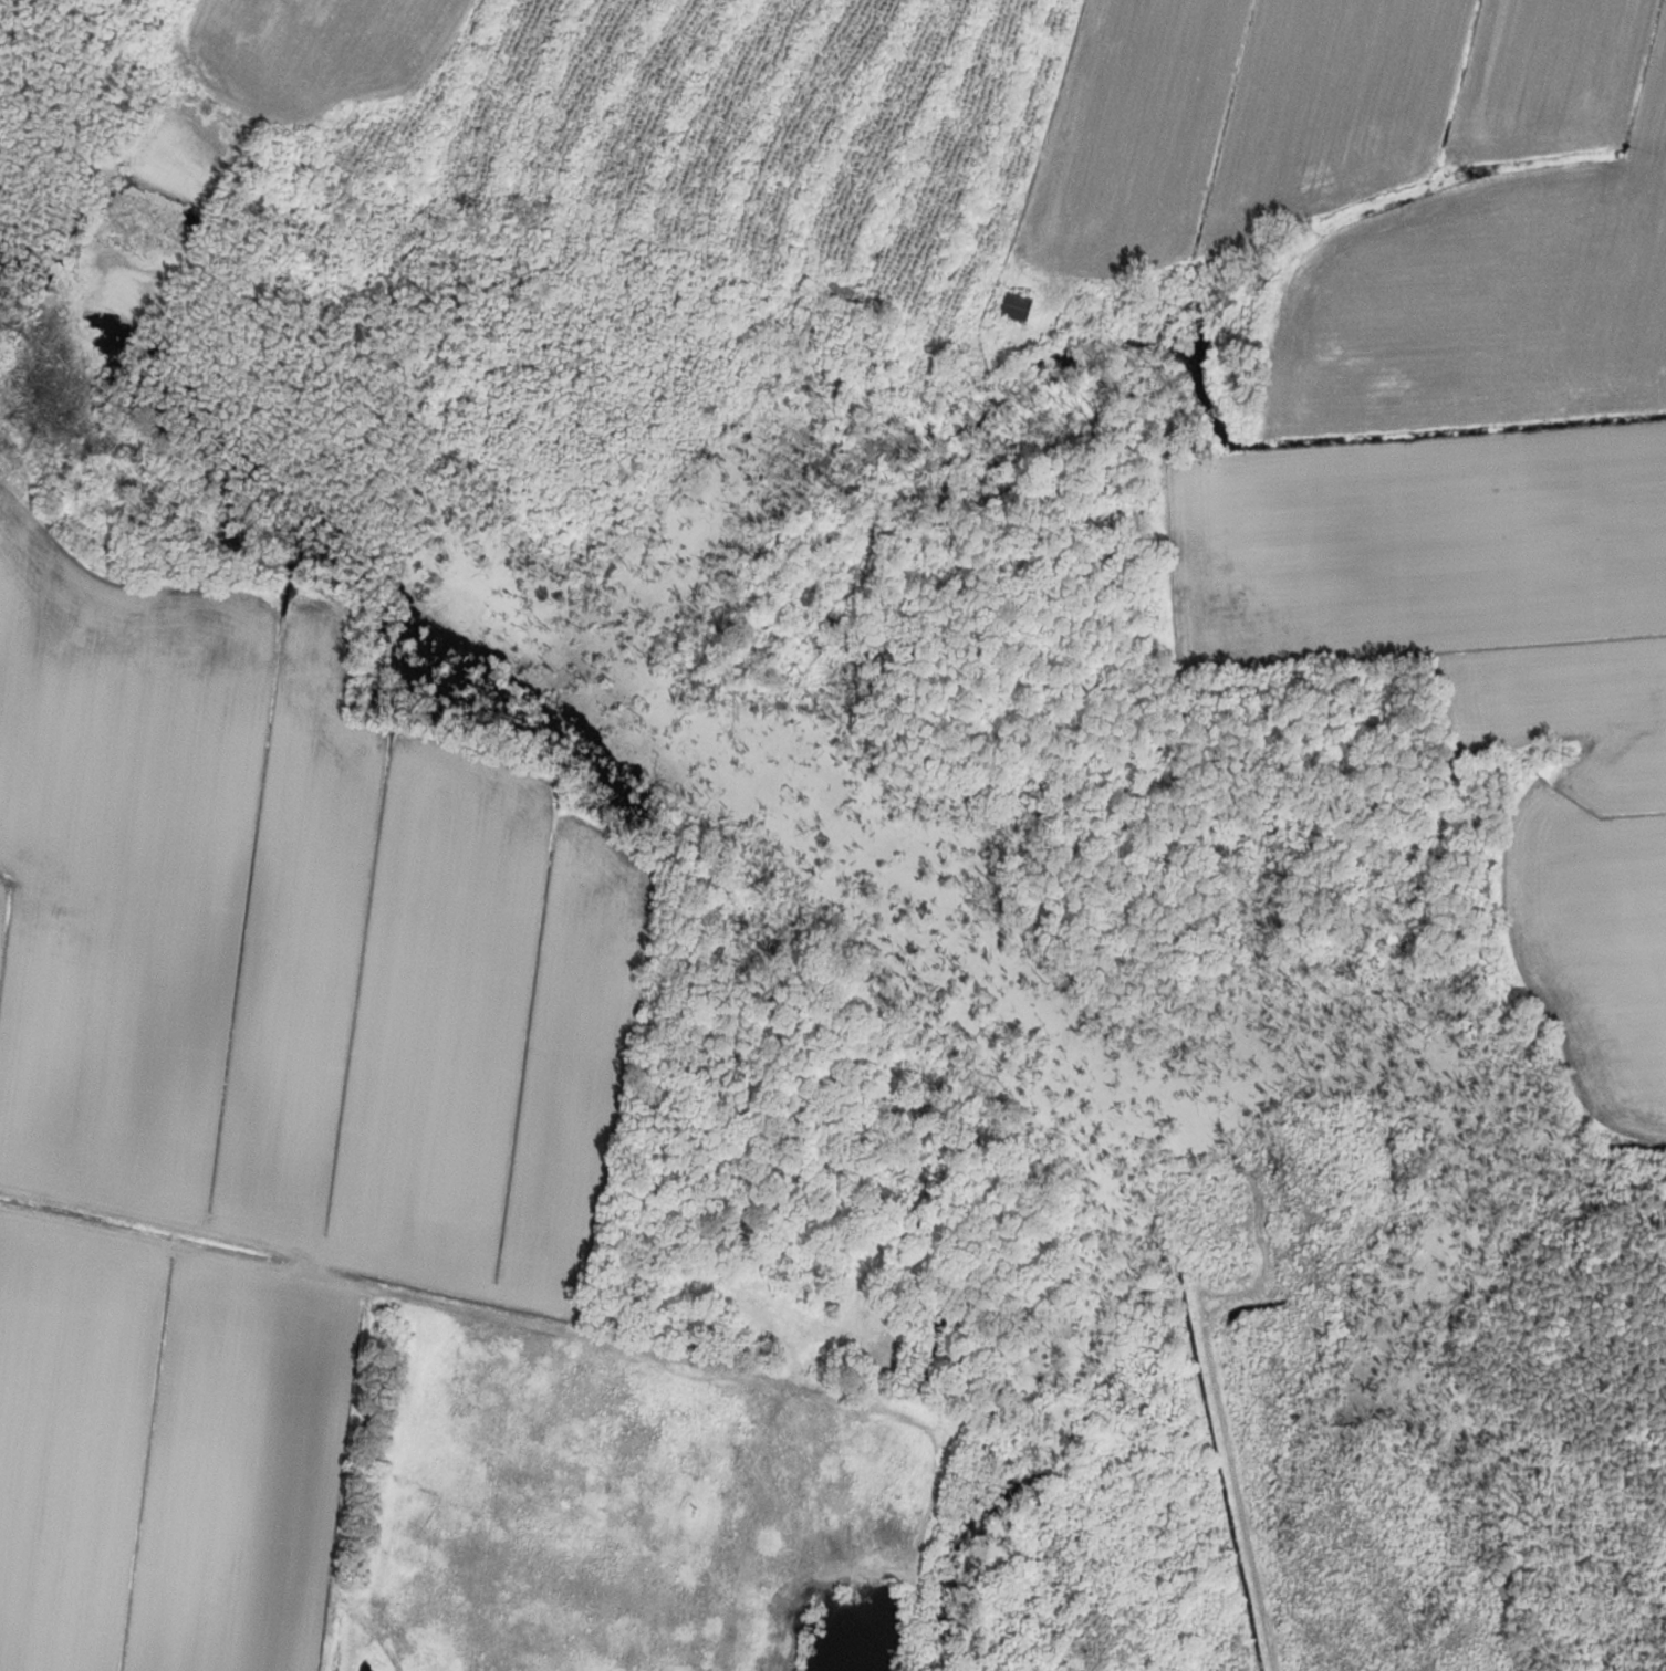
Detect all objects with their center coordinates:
road: (382, 1303)

